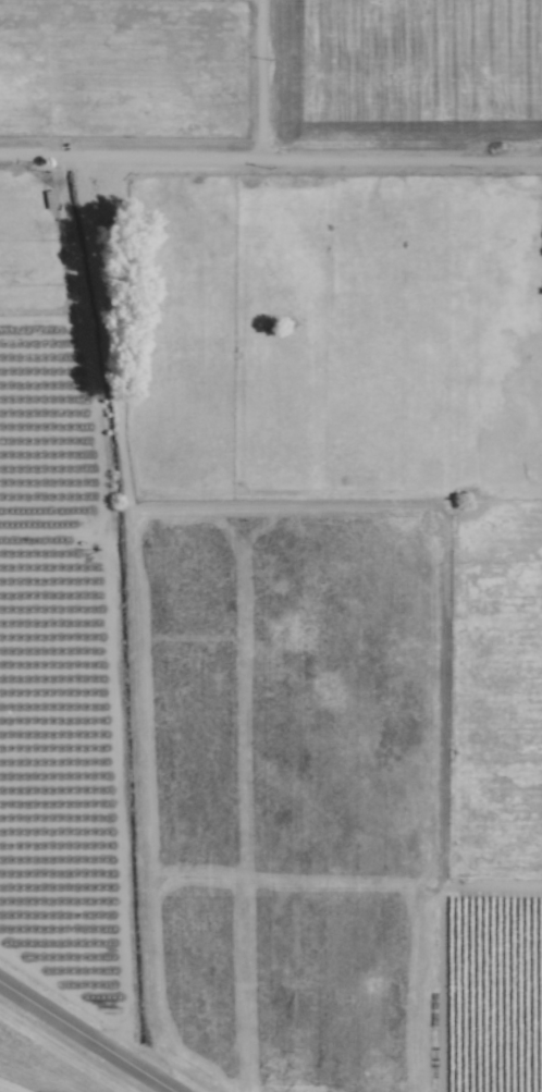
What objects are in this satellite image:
road: (270, 160)
crop: (327, 382)
crop: (65, 659)
road: (85, 1038)

